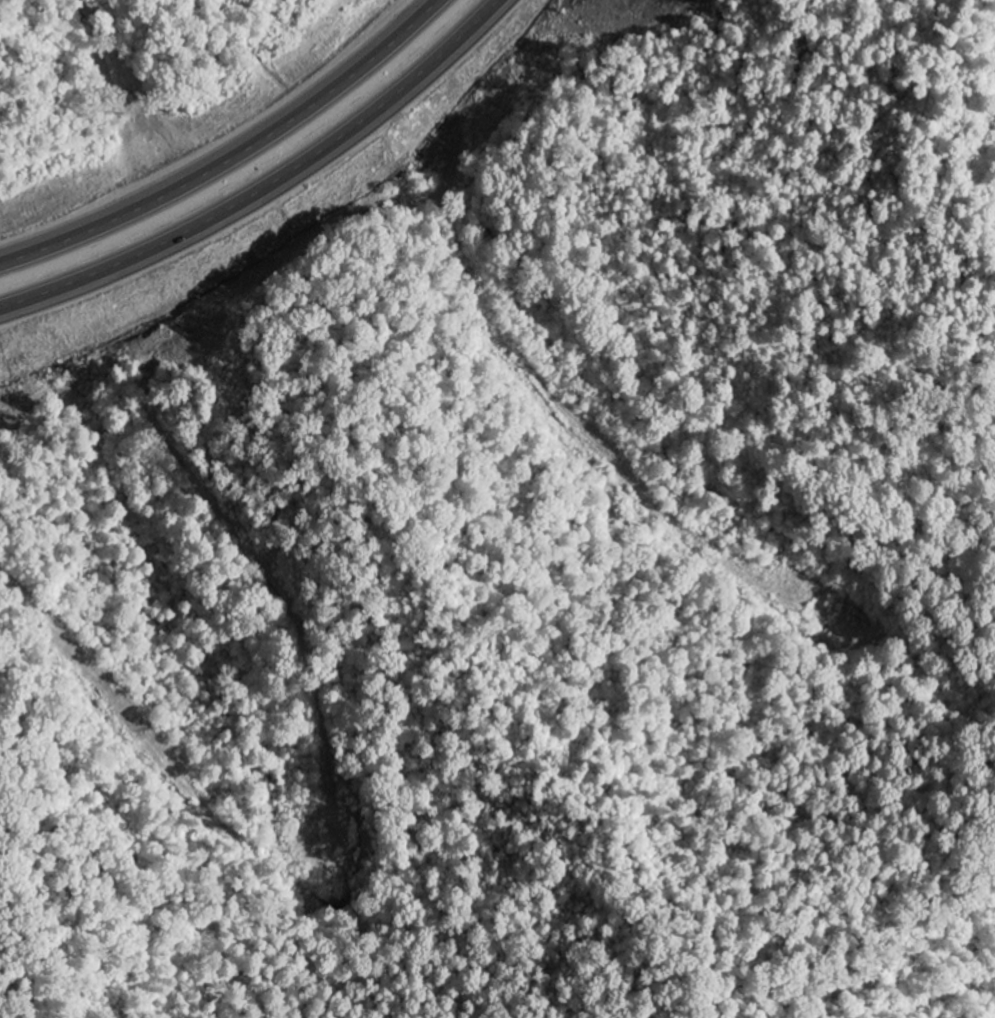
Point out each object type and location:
road: (234, 155)
road: (270, 188)

